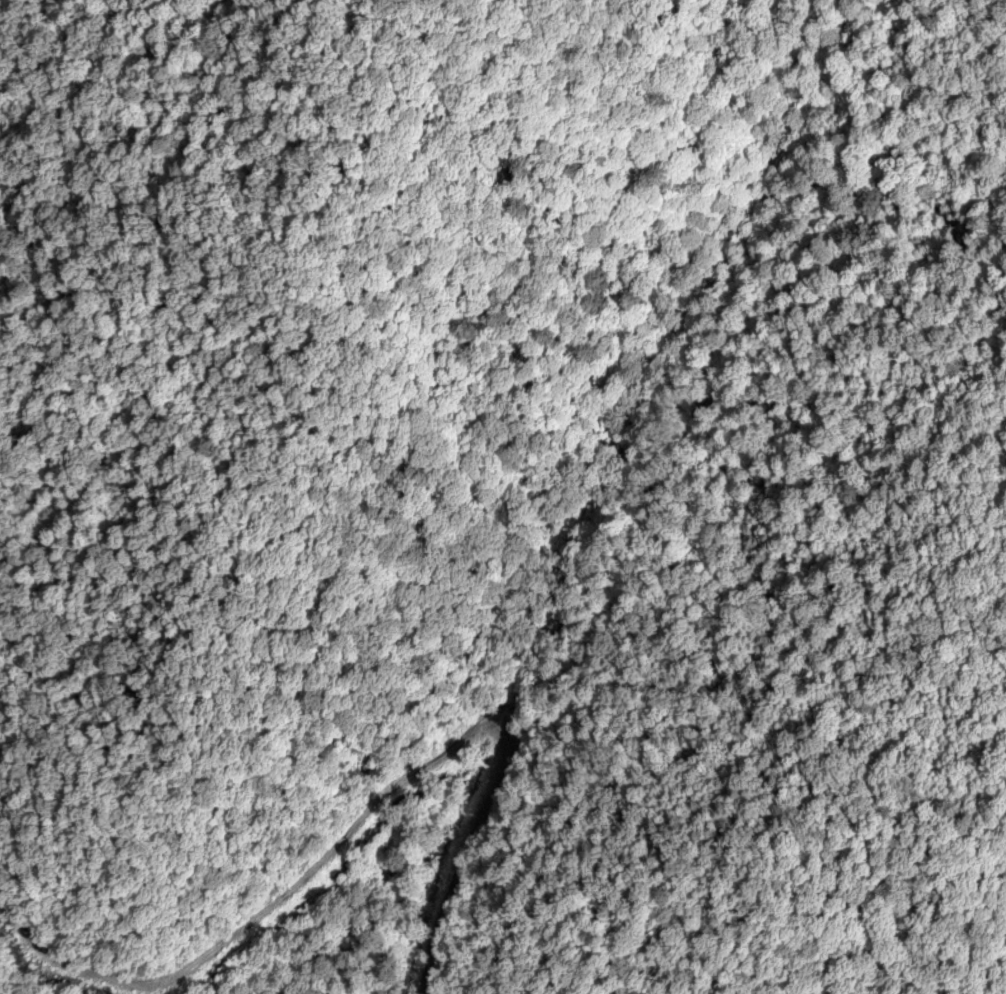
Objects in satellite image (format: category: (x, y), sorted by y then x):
road: (362, 817)

